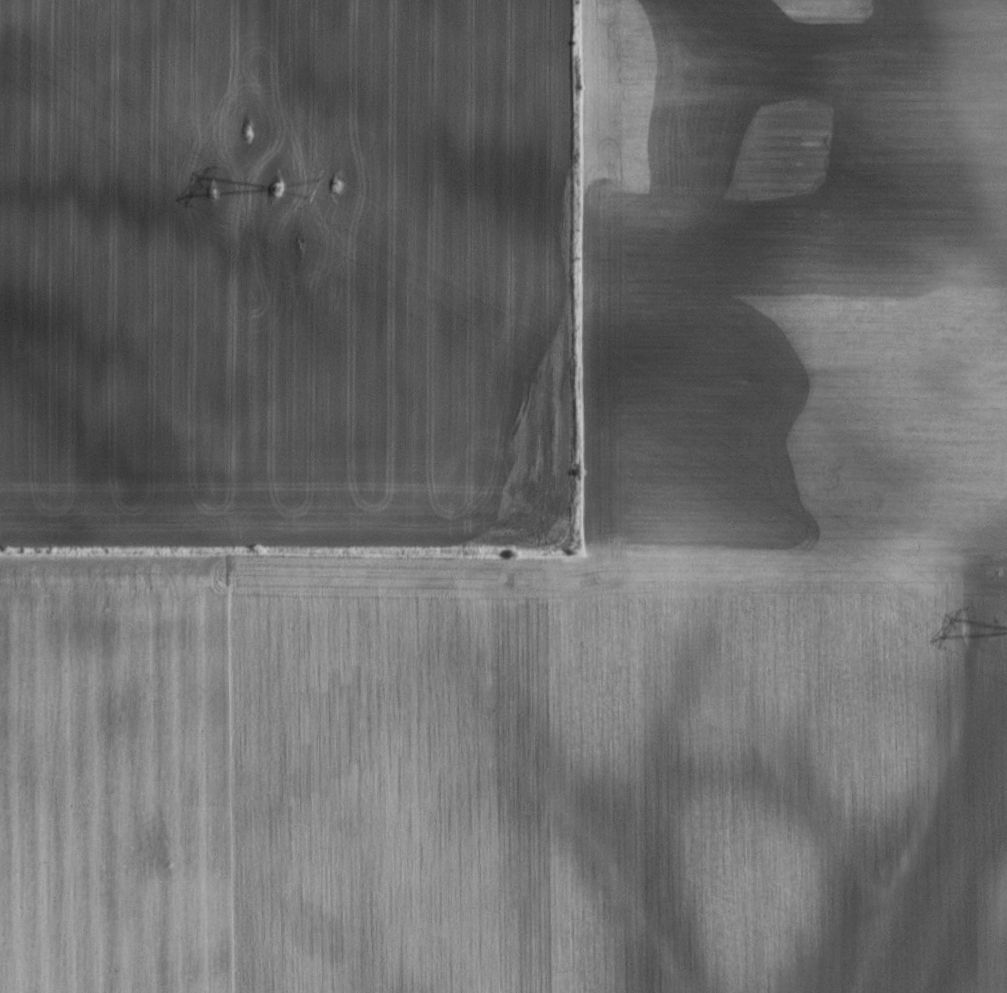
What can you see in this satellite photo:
power tower: (277, 188)

